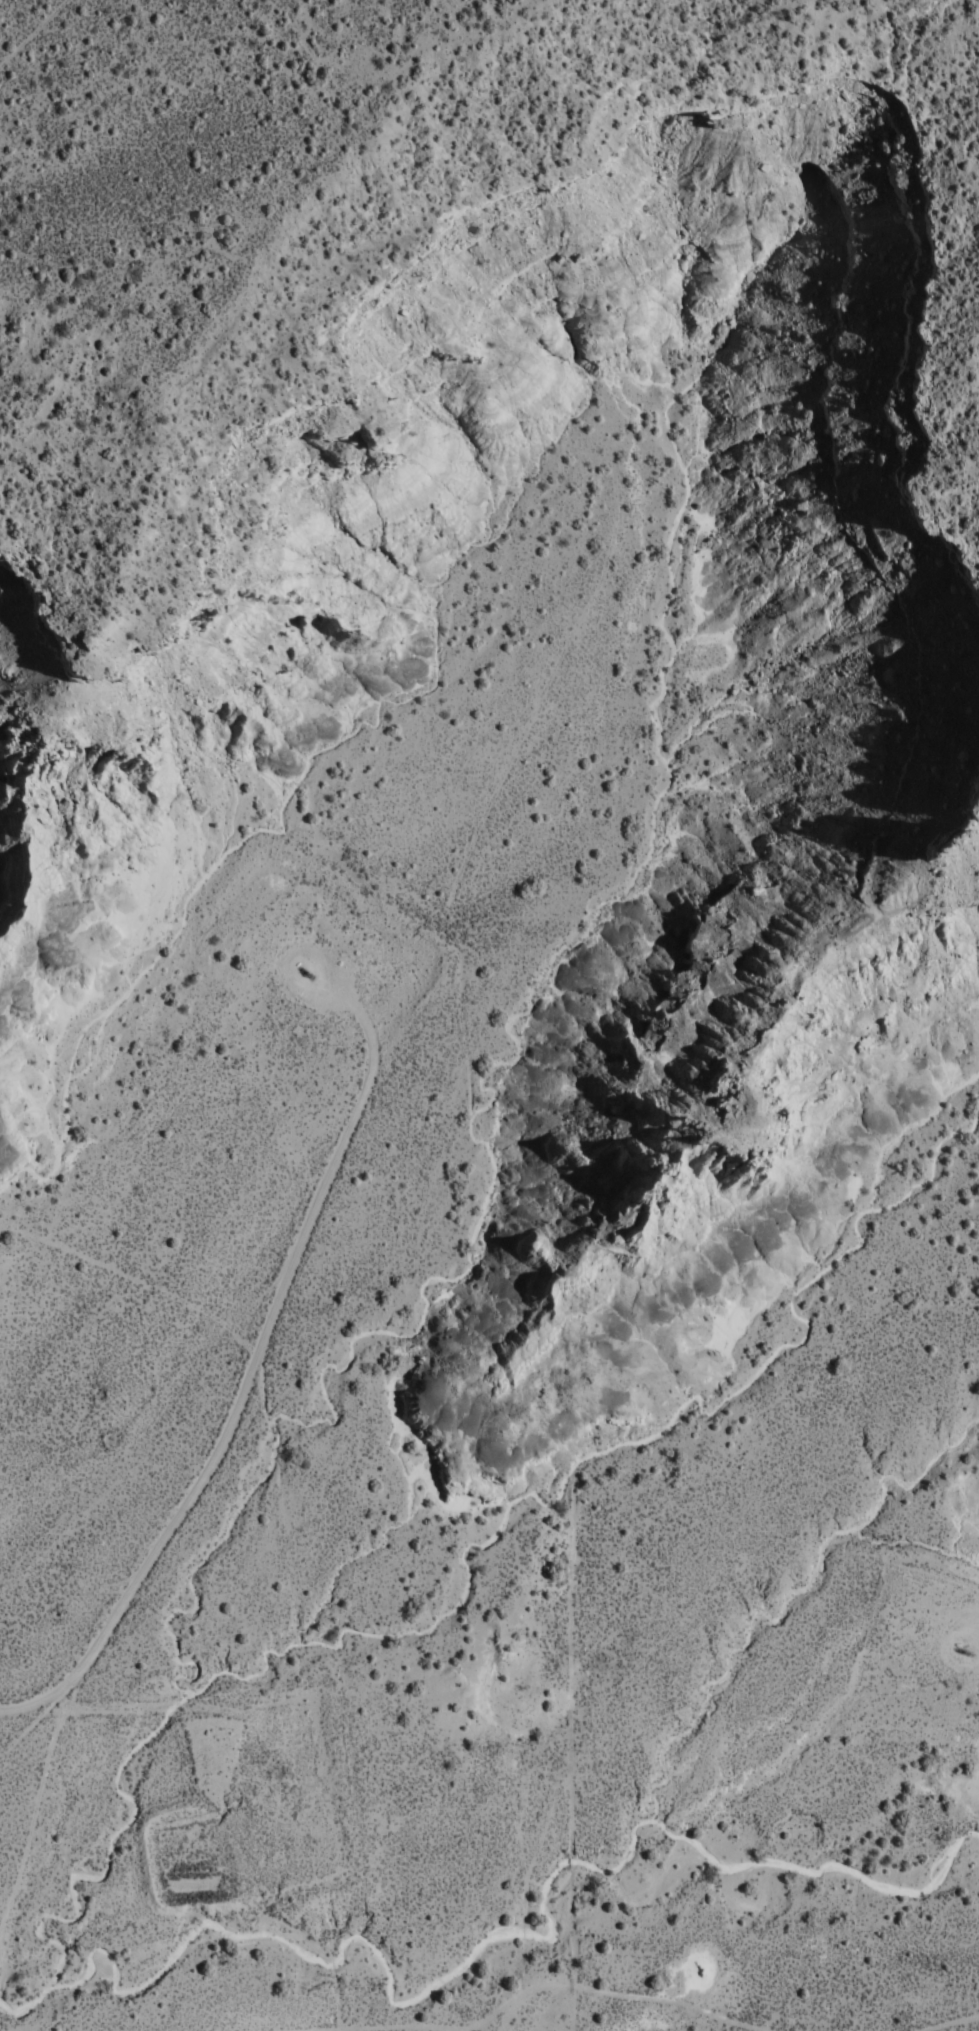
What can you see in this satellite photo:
road: (199, 1880)
road: (717, 1989)
road: (473, 2025)

